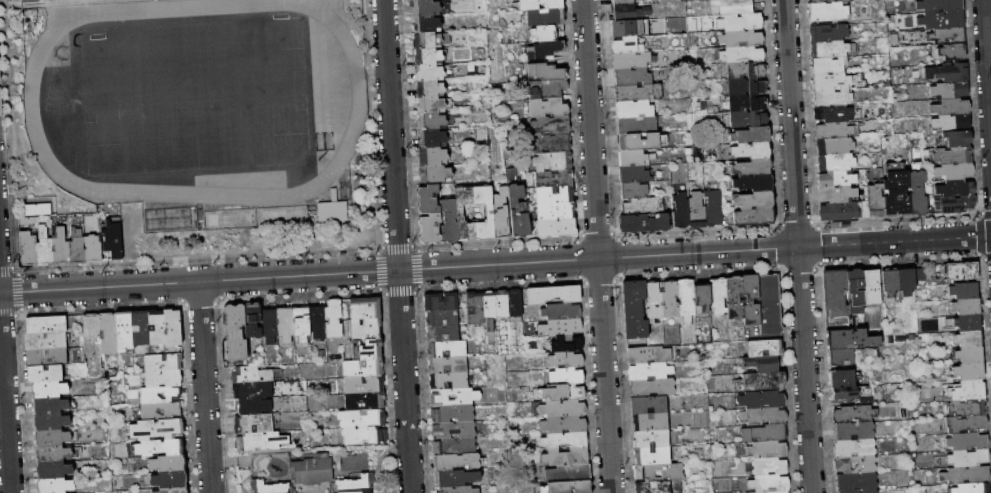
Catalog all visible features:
building: (817, 2)
building: (621, 3)
building: (538, 4)
building: (940, 5)
building: (423, 7)
building: (735, 7)
building: (827, 12)
building: (622, 14)
building: (544, 16)
building: (938, 20)
building: (424, 23)
building: (739, 23)
building: (627, 29)
building: (546, 31)
building: (828, 33)
building: (946, 36)
building: (425, 40)
building: (740, 40)
building: (625, 47)
building: (547, 50)
building: (829, 50)
building: (952, 52)
building: (426, 56)
building: (741, 56)
road: (987, 57)
building: (629, 61)
building: (828, 65)
building: (545, 71)
building: (427, 72)
building: (744, 72)
building: (949, 73)
building: (631, 78)
building: (833, 82)
building: (428, 88)
building: (546, 88)
building: (745, 88)
building: (949, 91)
building: (637, 94)
park: (193, 96)
building: (832, 98)
track: (357, 101)
building: (429, 104)
building: (746, 104)
building: (547, 107)
building: (952, 108)
building: (632, 110)
building: (835, 113)
building: (746, 120)
building: (430, 121)
building: (952, 123)
building: (550, 125)
building: (635, 126)
building: (836, 130)
building: (749, 136)
building: (430, 138)
building: (957, 139)
building: (639, 142)
building: (550, 143)
building: (835, 147)
building: (750, 152)
building: (430, 156)
building: (953, 156)
building: (630, 159)
building: (552, 160)
building: (836, 163)
building: (751, 168)
building: (955, 171)
building: (432, 173)
building: (632, 175)
building: (553, 177)
building: (837, 179)
building: (752, 184)
building: (956, 189)
building: (632, 191)
building: (897, 191)
building: (554, 194)
building: (918, 194)
building: (837, 195)
building: (427, 199)
building: (876, 200)
building: (752, 201)
building: (954, 205)
building: (642, 207)
building: (712, 209)
building: (38, 210)
building: (333, 210)
building: (517, 210)
building: (864, 210)
building: (554, 211)
building: (695, 211)
building: (482, 212)
building: (680, 212)
building: (837, 212)
building: (499, 213)
building: (458, 214)
building: (752, 217)
building: (172, 220)
building: (447, 220)
building: (668, 220)
building: (27, 222)
building: (641, 224)
building: (556, 227)
building: (429, 228)
building: (113, 240)
road: (396, 246)
road: (597, 246)
road: (797, 246)
building: (76, 247)
building: (45, 248)
building: (61, 248)
building: (28, 249)
building: (92, 250)
road: (495, 264)
building: (961, 272)
building: (920, 276)
building: (906, 282)
building: (890, 285)
building: (856, 288)
building: (871, 289)
building: (964, 291)
building: (554, 295)
building: (718, 296)
building: (702, 298)
building: (734, 298)
building: (835, 299)
building: (669, 300)
building: (686, 300)
building: (750, 300)
building: (440, 302)
building: (653, 302)
building: (515, 303)
building: (502, 304)
building: (770, 305)
building: (967, 307)
building: (474, 308)
building: (365, 309)
building: (489, 309)
building: (634, 310)
building: (562, 312)
building: (334, 319)
building: (442, 319)
building: (253, 320)
building: (317, 321)
building: (968, 323)
building: (46, 324)
building: (302, 324)
building: (269, 325)
building: (285, 325)
building: (156, 327)
building: (140, 328)
building: (172, 328)
building: (562, 329)
building: (366, 330)
building: (124, 331)
building: (108, 333)
building: (235, 333)
building: (92, 334)
building: (442, 335)
building: (850, 339)
building: (969, 340)
building: (46, 341)
building: (567, 345)
building: (764, 349)
building: (367, 350)
building: (447, 350)
building: (649, 355)
building: (970, 356)
building: (46, 357)
building: (842, 357)
building: (566, 360)
building: (163, 362)
building: (762, 363)
building: (448, 366)
building: (362, 368)
building: (650, 372)
building: (969, 372)
building: (45, 374)
building: (250, 375)
building: (567, 376)
building: (163, 378)
building: (843, 378)
building: (449, 382)
building: (760, 382)
building: (364, 384)
road: (203, 387)
building: (652, 388)
building: (49, 390)
building: (252, 390)
building: (966, 391)
building: (568, 392)
building: (850, 393)
building: (154, 395)
building: (454, 397)
building: (762, 400)
road: (5, 401)
building: (365, 401)
building: (648, 405)
building: (52, 406)
building: (252, 406)
building: (968, 408)
building: (563, 409)
building: (161, 411)
building: (452, 414)
building: (854, 414)
building: (763, 416)
building: (362, 418)
building: (50, 422)
building: (650, 423)
building: (254, 424)
building: (967, 424)
building: (564, 425)
building: (157, 429)
building: (453, 430)
building: (853, 431)
building: (908, 433)
building: (765, 434)
building: (365, 436)
building: (55, 437)
building: (655, 440)
building: (566, 441)
building: (968, 441)
building: (261, 442)
road: (399, 444)
building: (454, 446)
building: (160, 448)
building: (854, 448)
building: (767, 450)
building: (55, 454)
building: (652, 456)
road: (380, 457)
building: (566, 458)
building: (969, 458)
building: (456, 462)
building: (167, 463)
building: (770, 466)
building: (866, 466)
building: (313, 470)
building: (54, 471)
building: (570, 473)
building: (672, 473)
building: (967, 476)
building: (167, 478)
building: (456, 478)
building: (856, 482)
building: (769, 483)
building: (357, 485)
building: (55, 486)
building: (269, 487)
building: (570, 487)
building: (658, 487)
building: (972, 488)
building: (173, 489)
building: (457, 490)
building: (870, 491)
building: (761, 492)
building: (778, 492)
building: (849, 492)

